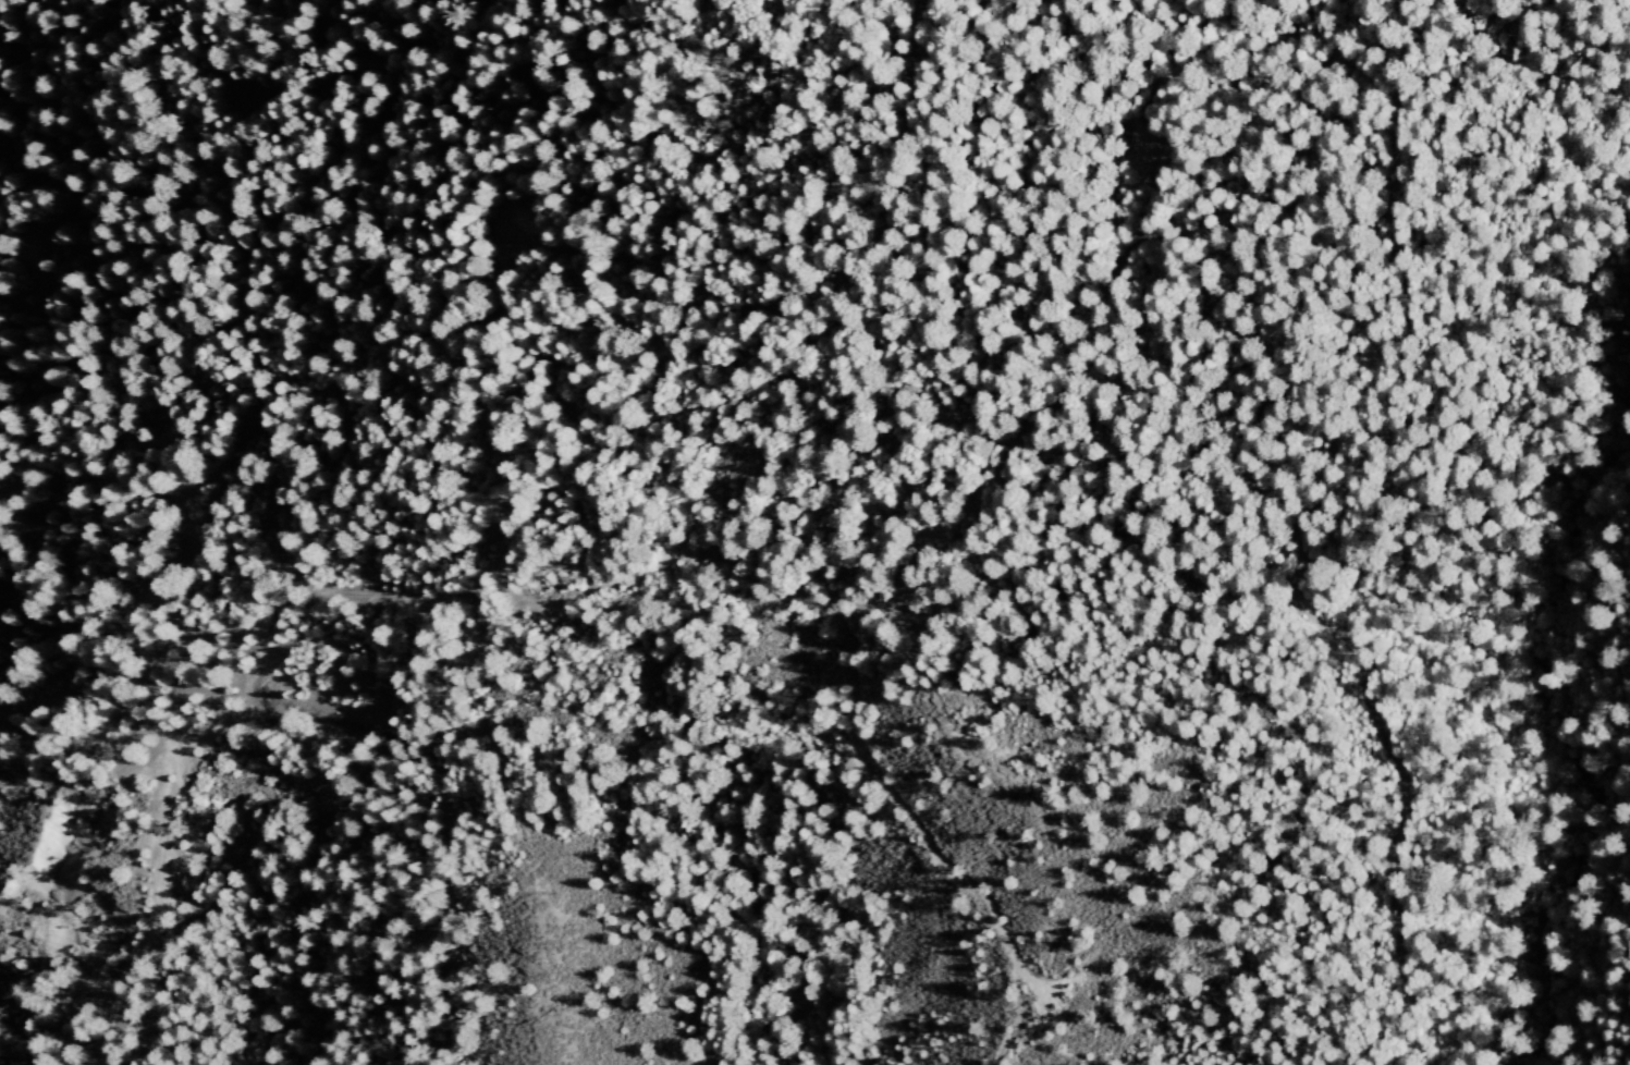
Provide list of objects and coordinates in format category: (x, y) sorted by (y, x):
road: (352, 585)
road: (863, 786)

